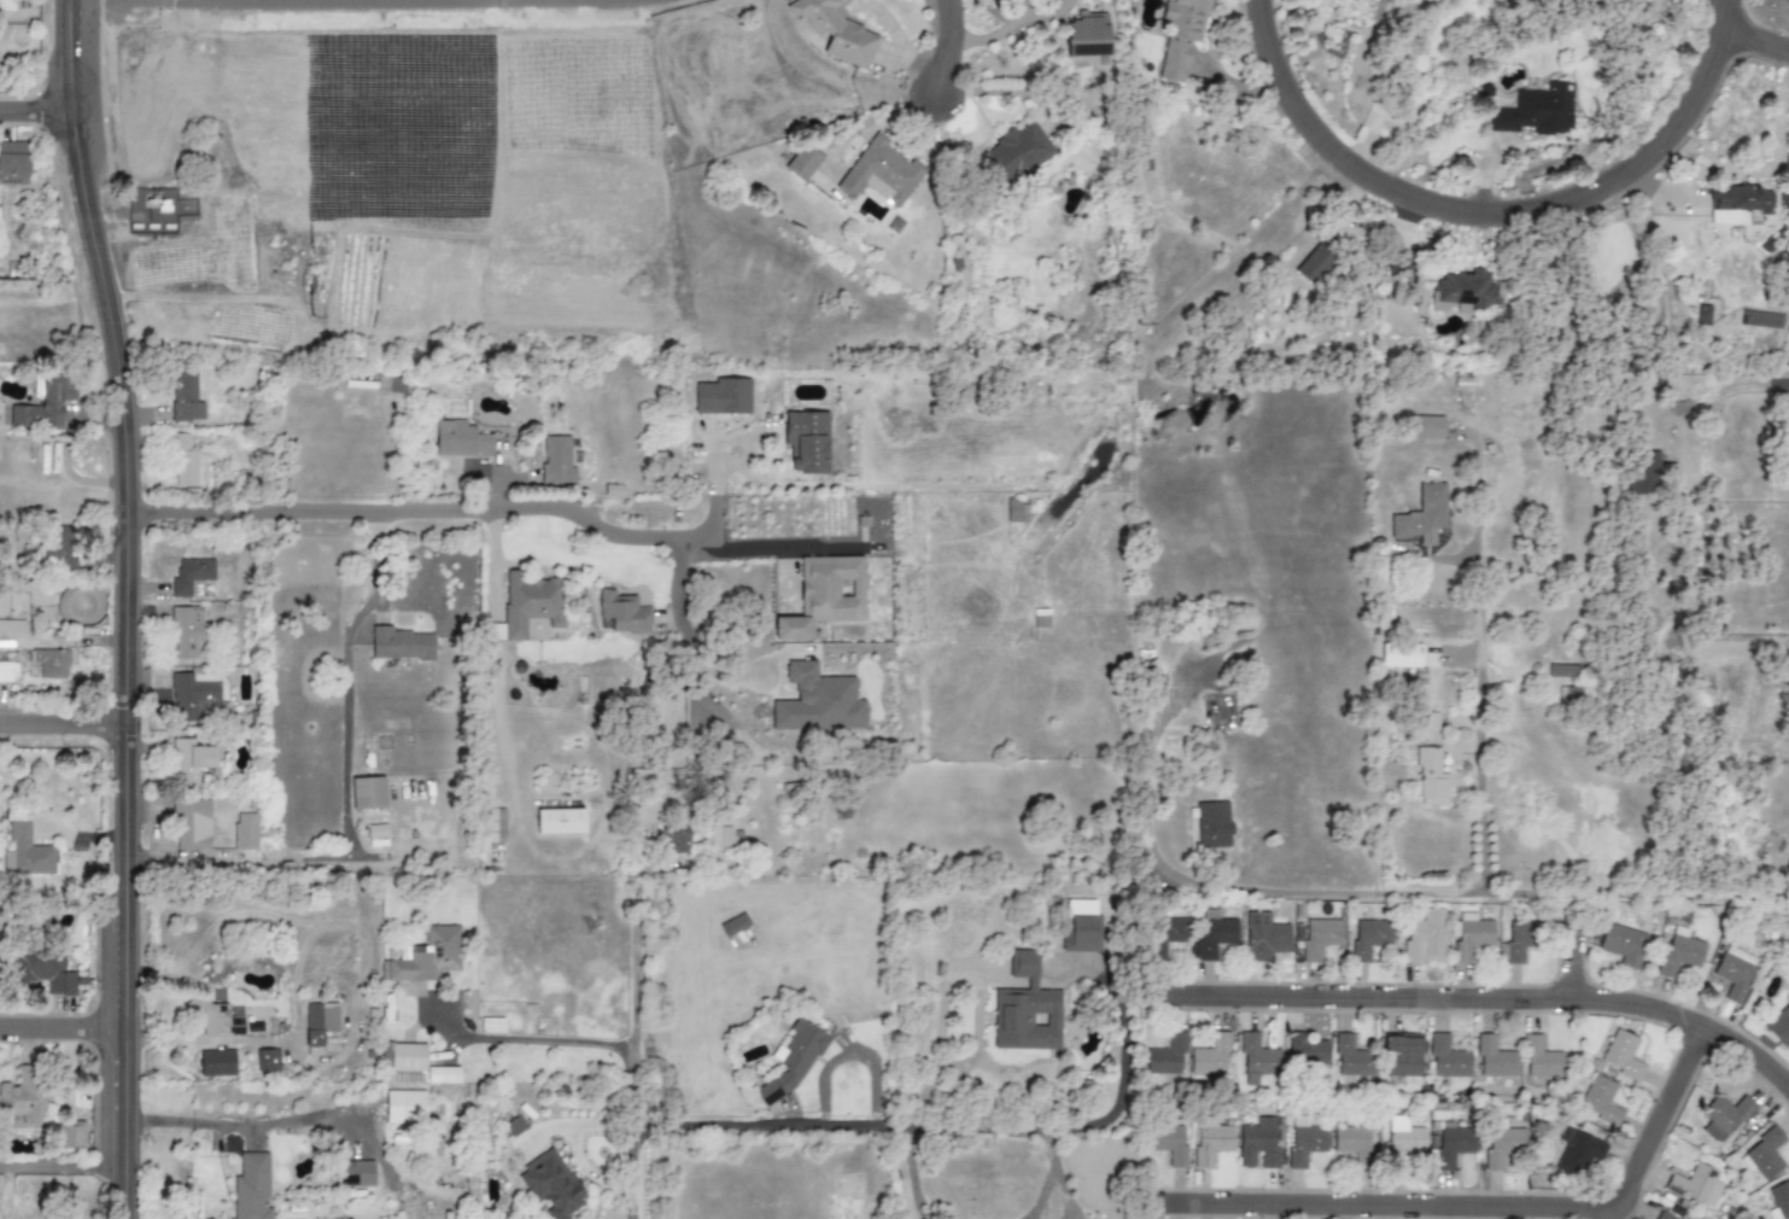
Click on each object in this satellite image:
building: (836, 31)
building: (1087, 35)
building: (1180, 36)
road: (1754, 37)
road: (946, 45)
building: (1537, 111)
road: (36, 115)
building: (1012, 156)
building: (13, 163)
building: (802, 163)
road: (1740, 171)
building: (881, 174)
building: (1736, 203)
road: (1486, 212)
building: (1312, 264)
building: (1461, 291)
road: (1784, 383)
building: (391, 385)
road: (1767, 387)
building: (721, 396)
building: (185, 397)
building: (45, 404)
building: (1425, 427)
building: (460, 441)
building: (806, 441)
building: (183, 461)
building: (556, 461)
building: (1642, 472)
road: (477, 511)
building: (1421, 515)
building: (59, 544)
road: (774, 550)
road: (495, 565)
building: (191, 576)
building: (824, 595)
building: (528, 603)
road: (136, 606)
building: (621, 613)
building: (12, 626)
building: (186, 631)
road: (686, 635)
building: (399, 645)
building: (1397, 653)
building: (49, 663)
road: (1480, 666)
building: (1563, 670)
building: (6, 671)
building: (191, 694)
building: (1569, 696)
building: (817, 701)
road: (68, 716)
building: (1427, 724)
building: (191, 762)
building: (1431, 777)
building: (367, 793)
building: (559, 822)
building: (192, 826)
building: (495, 826)
building: (1212, 826)
building: (245, 832)
building: (719, 835)
building: (674, 839)
building: (25, 853)
road: (1363, 894)
building: (733, 925)
building: (0, 926)
building: (1081, 934)
building: (1162, 937)
building: (1265, 937)
building: (1320, 937)
building: (1217, 938)
building: (1426, 938)
building: (1472, 939)
building: (1372, 940)
building: (1519, 944)
building: (1621, 951)
road: (636, 953)
building: (1679, 955)
building: (426, 956)
road: (1569, 964)
building: (41, 969)
building: (1736, 978)
road: (1475, 996)
road: (981, 1002)
building: (1025, 1009)
building: (212, 1019)
road: (68, 1025)
building: (318, 1026)
building: (491, 1026)
building: (1779, 1026)
road: (587, 1040)
building: (1305, 1049)
building: (1212, 1055)
building: (1401, 1055)
building: (1621, 1055)
building: (1165, 1056)
building: (1251, 1057)
building: (1350, 1057)
building: (1448, 1057)
building: (1493, 1057)
building: (791, 1060)
building: (1543, 1060)
building: (267, 1061)
building: (216, 1063)
building: (403, 1063)
building: (442, 1074)
building: (23, 1096)
road: (926, 1096)
building: (1601, 1102)
road: (1115, 1106)
building: (404, 1107)
building: (1724, 1118)
road: (355, 1122)
road: (201, 1126)
building: (514, 1126)
road: (818, 1127)
building: (71, 1136)
building: (1407, 1139)
building: (1210, 1141)
building: (1261, 1143)
building: (1355, 1143)
building: (1168, 1144)
building: (1305, 1144)
building: (1502, 1145)
building: (1451, 1147)
building: (1578, 1150)
building: (1767, 1153)
road: (66, 1166)
building: (359, 1172)
road: (633, 1172)
road: (914, 1176)
road: (1050, 1178)
building: (1694, 1184)
building: (550, 1185)
building: (251, 1188)
building: (1781, 1198)
road: (1477, 1205)
building: (1661, 1218)

